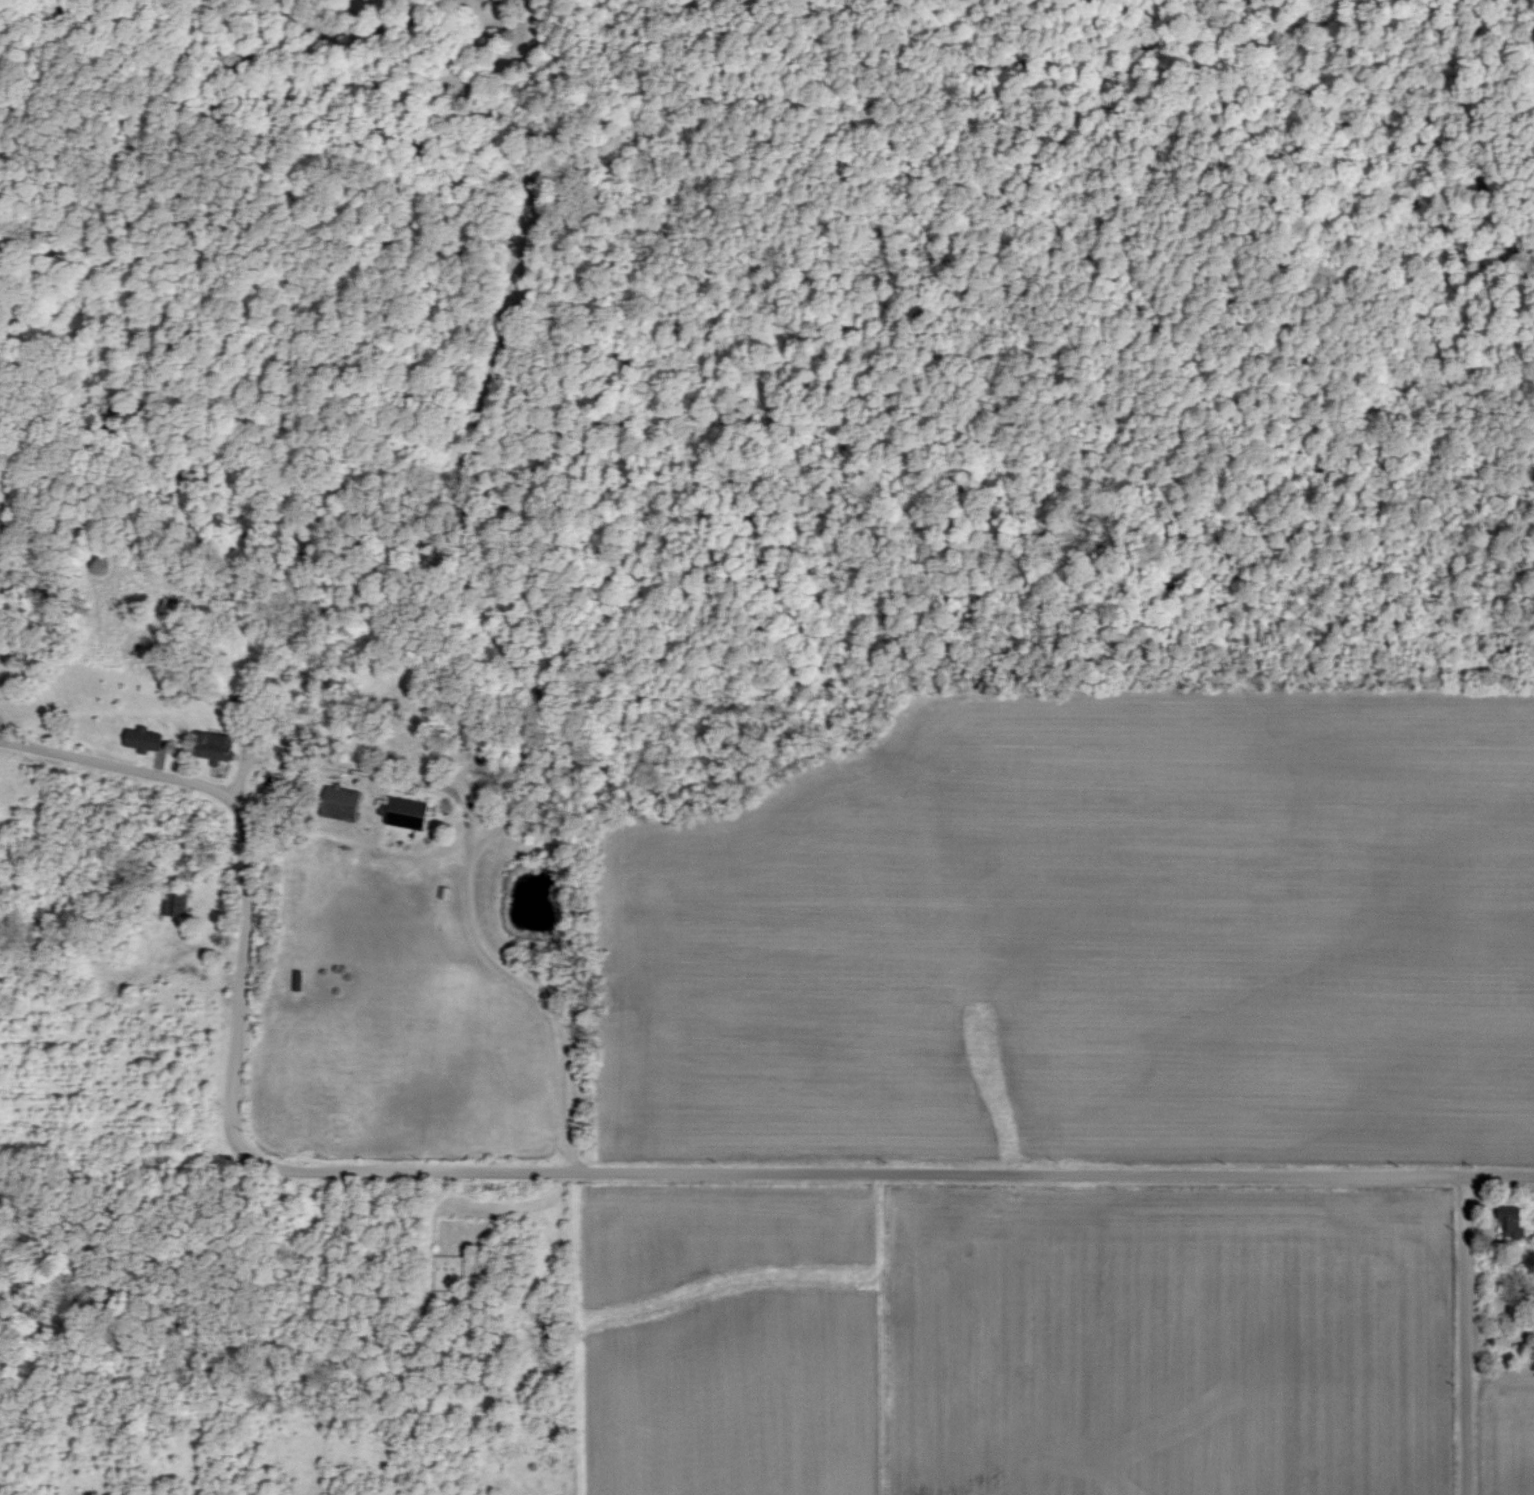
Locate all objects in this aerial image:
building: (0, 658)
road: (129, 770)
building: (346, 803)
building: (409, 814)
road: (523, 978)
road: (240, 993)
road: (891, 1173)
building: (1507, 1222)
road: (1465, 1336)

